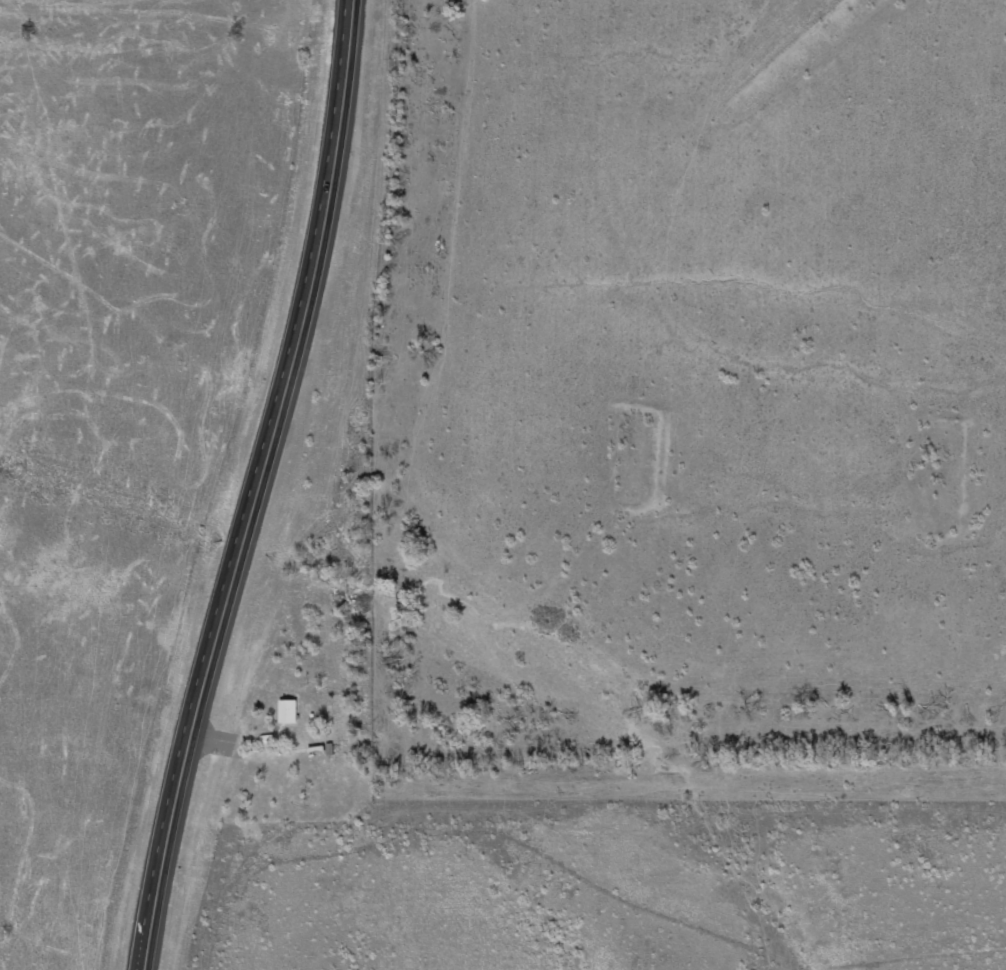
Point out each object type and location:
road: (263, 485)
building: (288, 713)

